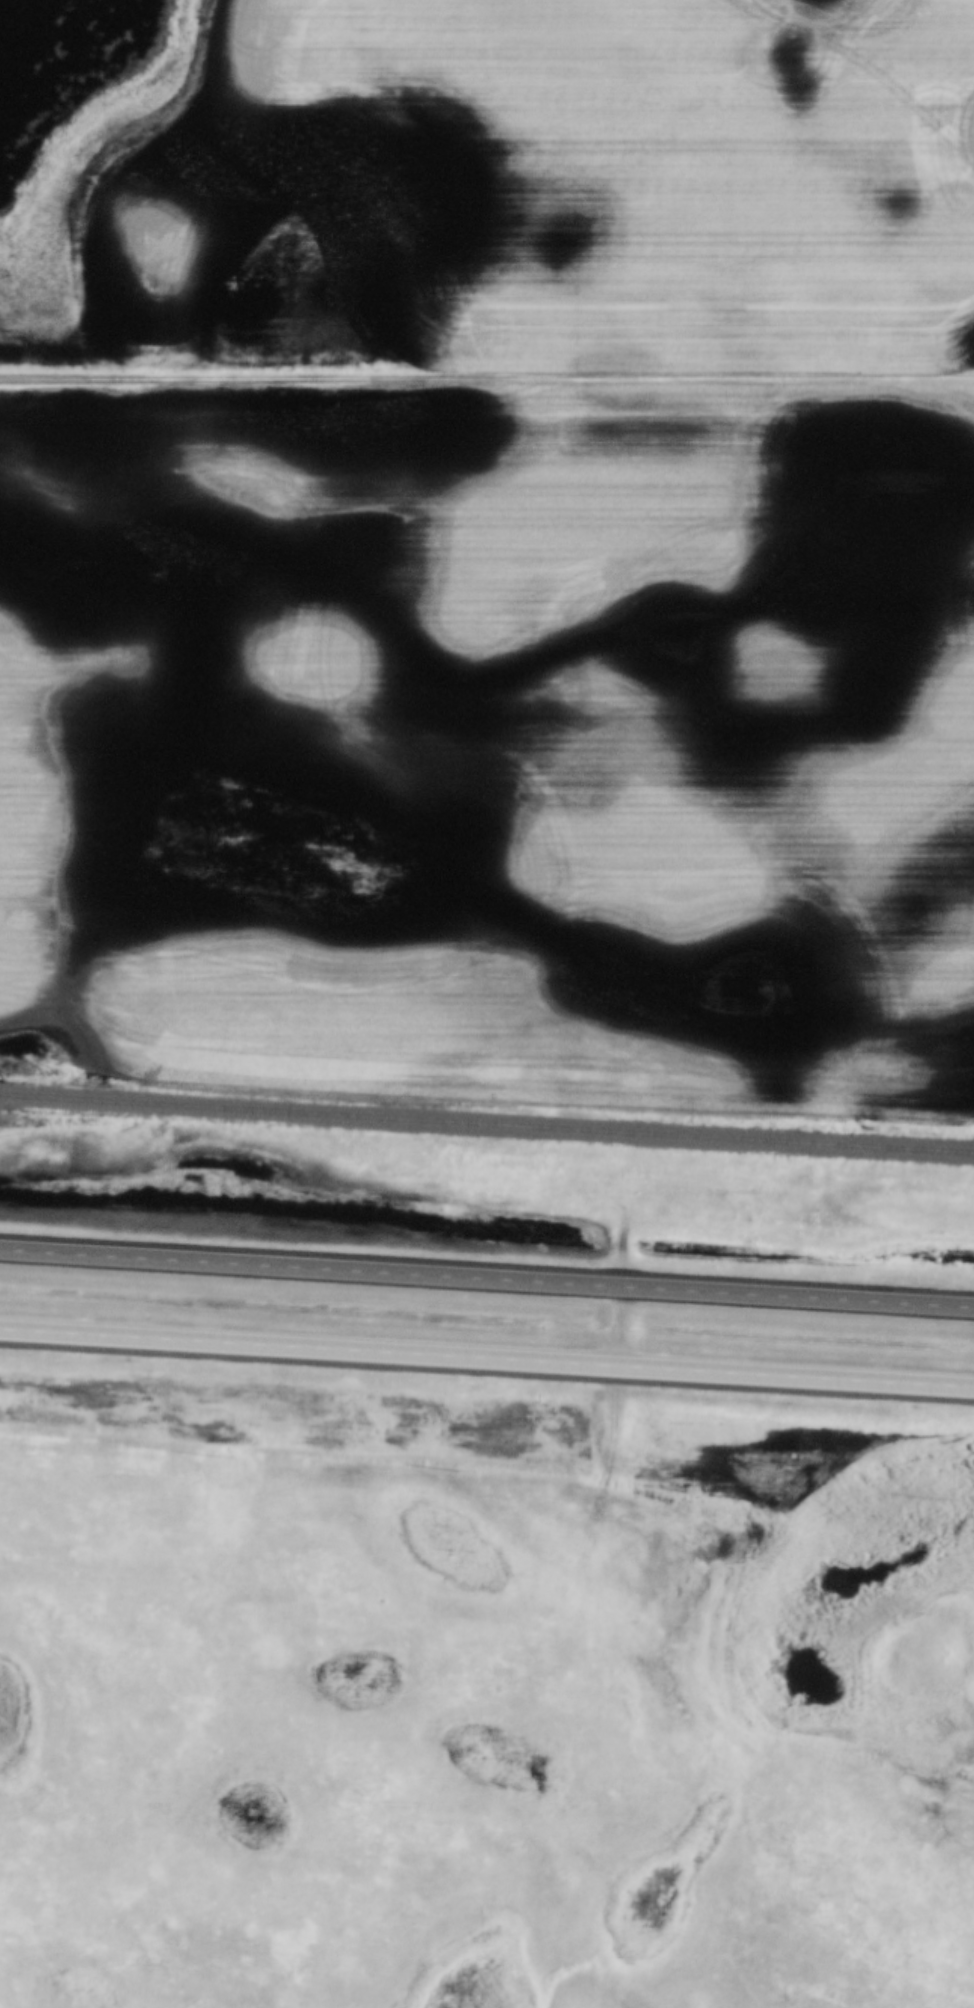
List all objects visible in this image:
road: (486, 376)
railway: (487, 1125)
road: (486, 1279)
road: (486, 1358)

